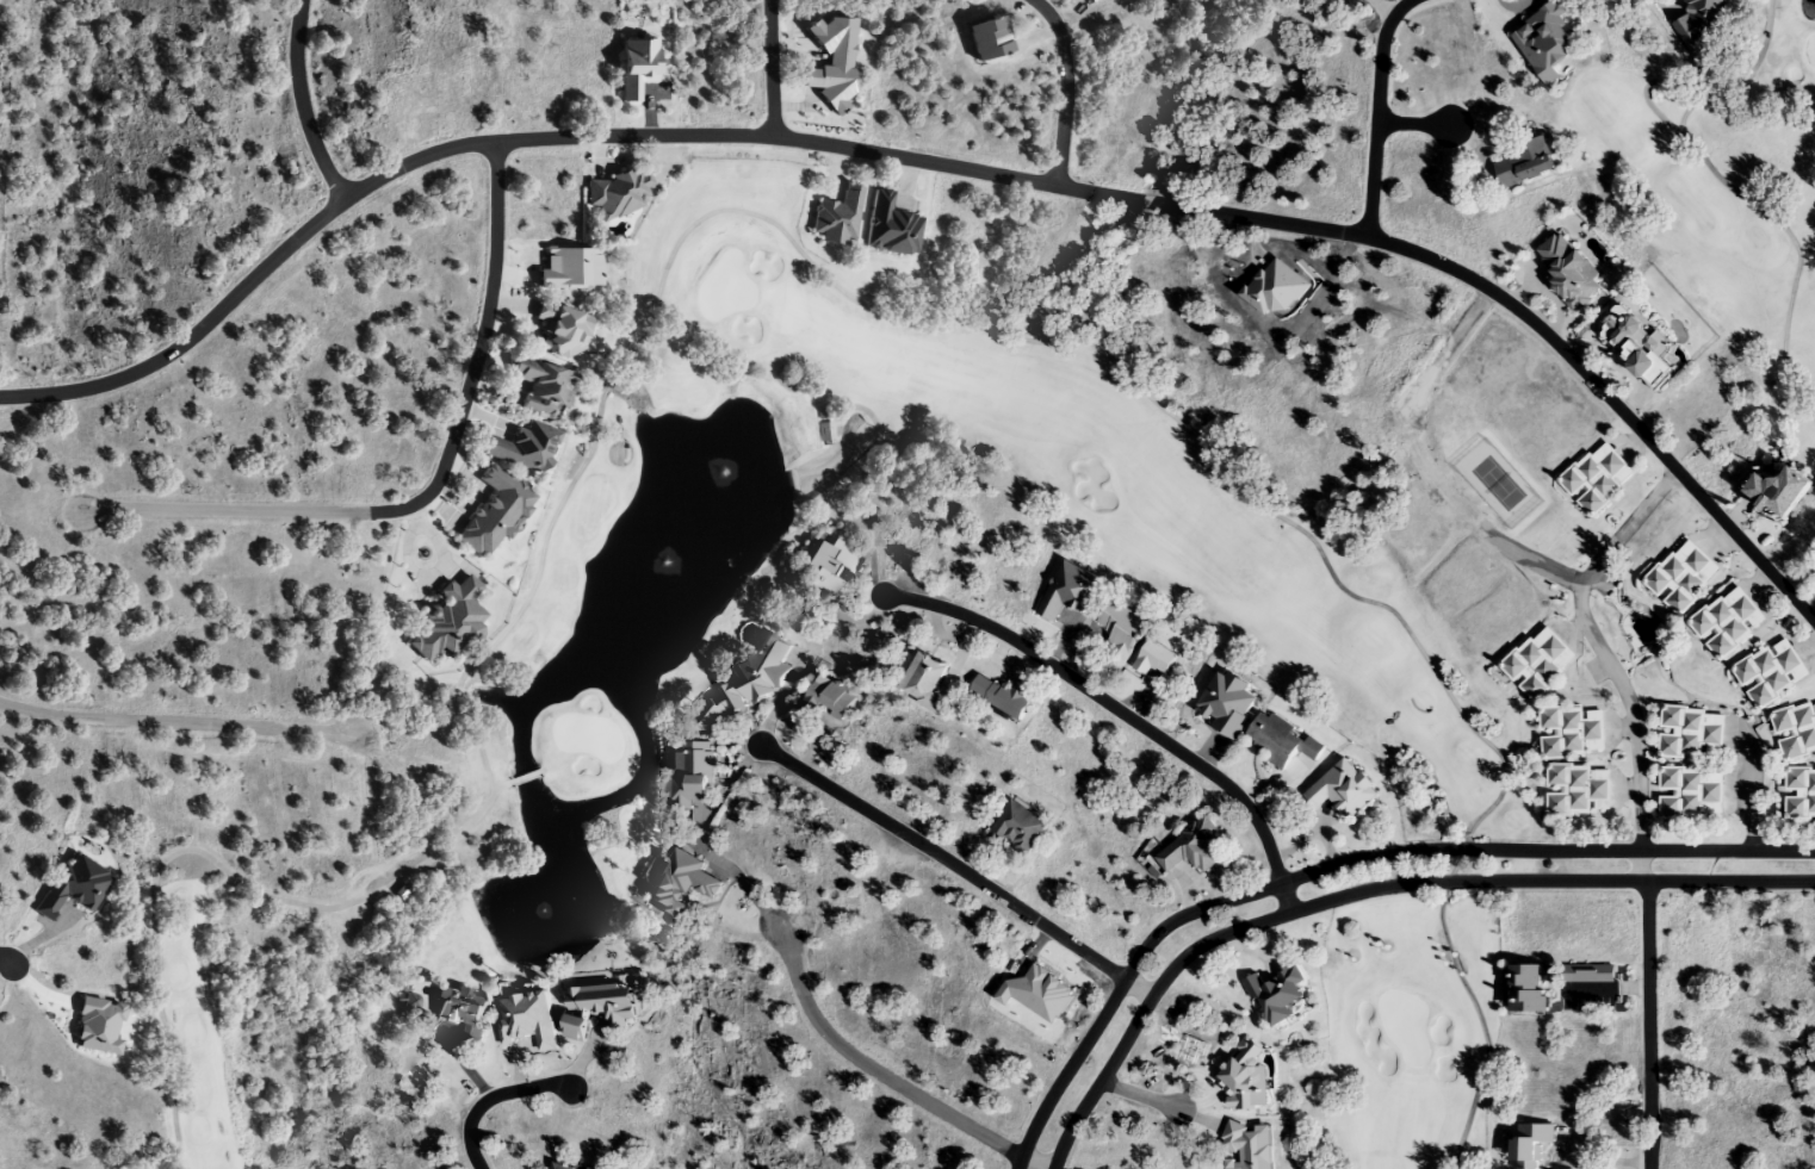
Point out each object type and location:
building: (984, 37)
building: (634, 67)
road: (773, 67)
road: (1066, 86)
road: (302, 104)
road: (1379, 114)
road: (1416, 124)
building: (1525, 161)
road: (946, 164)
park: (1721, 181)
building: (617, 192)
building: (836, 217)
building: (890, 226)
building: (563, 330)
building: (1639, 348)
road: (1442, 359)
building: (544, 388)
building: (825, 433)
building: (525, 447)
building: (1597, 478)
road: (433, 486)
building: (1777, 491)
building: (494, 511)
building: (825, 567)
building: (1680, 576)
building: (448, 620)
building: (1727, 622)
building: (1119, 633)
road: (1597, 643)
building: (1537, 663)
park: (1379, 666)
building: (1770, 672)
building: (766, 673)
building: (923, 682)
building: (999, 696)
building: (825, 698)
road: (1108, 703)
building: (713, 714)
road: (178, 720)
building: (1795, 730)
building: (1572, 732)
building: (1691, 733)
building: (1280, 741)
building: (690, 775)
building: (1339, 790)
building: (1578, 790)
building: (1690, 794)
building: (1798, 794)
building: (1017, 828)
building: (1189, 850)
road: (1342, 860)
road: (1643, 865)
road: (959, 866)
building: (73, 887)
road: (1368, 890)
road: (6, 960)
building: (1526, 990)
building: (1275, 995)
building: (597, 1007)
building: (457, 1018)
building: (527, 1020)
road: (1646, 1026)
road: (888, 1080)
road: (493, 1095)
road: (1139, 1095)
building: (1529, 1144)
building: (560, 1167)

